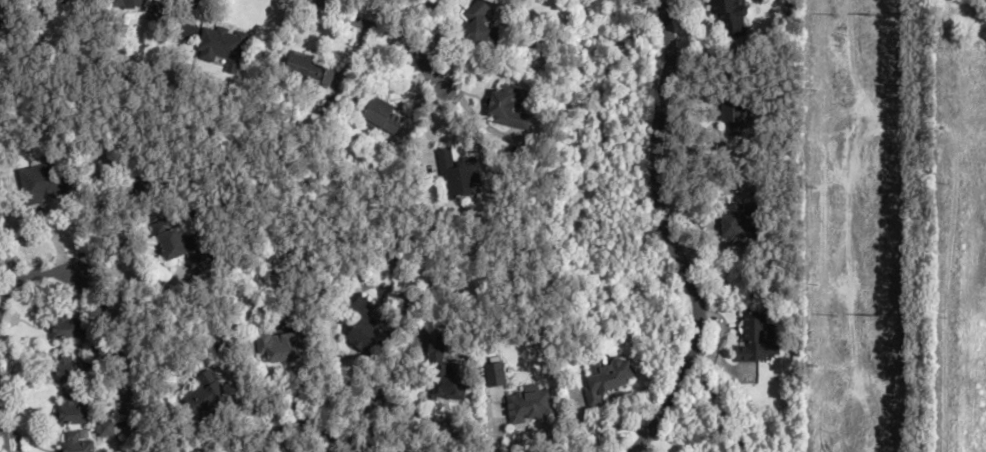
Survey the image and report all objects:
building: (43, 1)
road: (313, 2)
building: (126, 4)
building: (154, 12)
power tower: (873, 15)
building: (734, 16)
building: (483, 27)
road: (385, 33)
building: (219, 48)
building: (309, 70)
building: (512, 106)
building: (740, 114)
building: (383, 116)
building: (460, 175)
building: (42, 182)
road: (90, 216)
building: (742, 220)
road: (670, 237)
building: (175, 243)
building: (1, 252)
road: (32, 273)
power tower: (872, 313)
building: (63, 326)
building: (367, 329)
building: (760, 337)
building: (280, 345)
building: (69, 370)
building: (448, 371)
road: (122, 377)
building: (609, 380)
building: (204, 396)
building: (531, 404)
building: (70, 411)
road: (283, 427)
building: (102, 428)
road: (1, 438)
building: (73, 443)
road: (265, 444)

